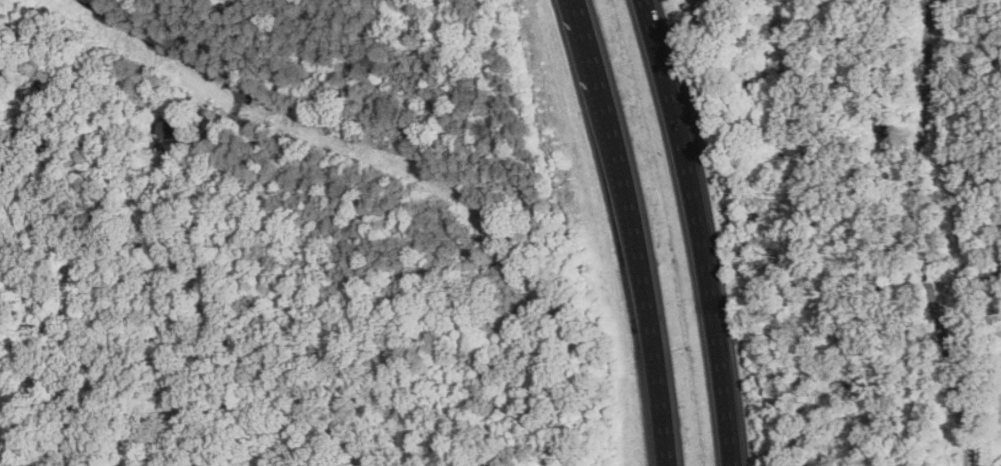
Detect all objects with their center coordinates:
road: (272, 107)
building: (174, 131)
road: (636, 230)
road: (698, 231)
road: (925, 235)
road: (998, 464)

